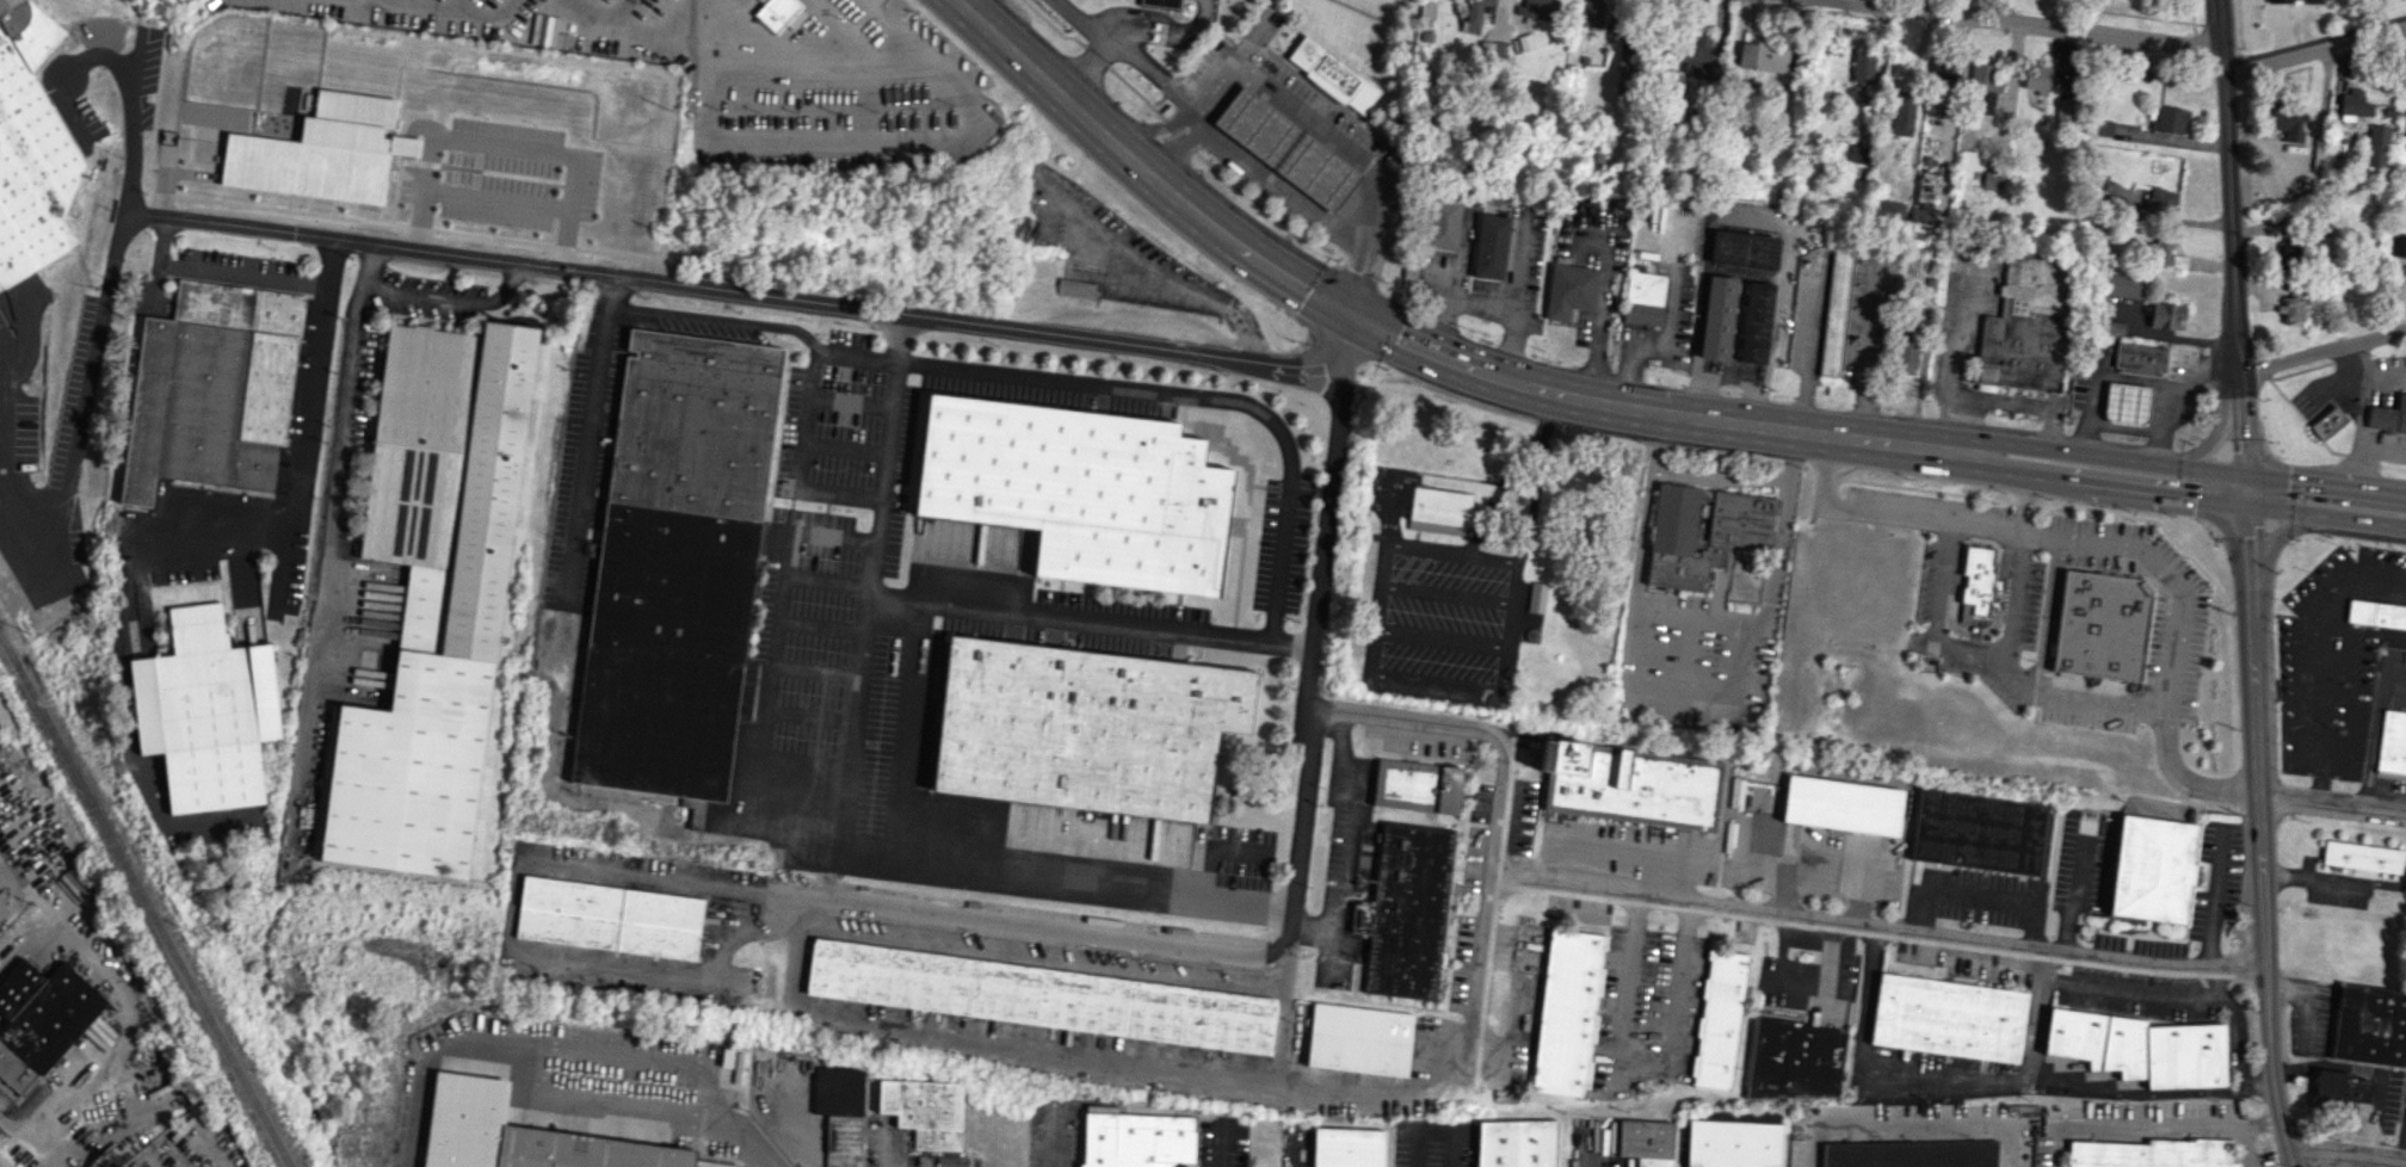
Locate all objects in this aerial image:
building: (2295, 0)
building: (1160, 4)
road: (1924, 5)
building: (1425, 8)
building: (1537, 8)
road: (457, 11)
building: (1591, 13)
building: (779, 14)
building: (1474, 14)
road: (1131, 21)
road: (2034, 24)
road: (2315, 45)
road: (1125, 49)
building: (1491, 50)
building: (1696, 55)
building: (1763, 56)
road: (820, 63)
building: (1862, 66)
building: (1625, 67)
road: (1029, 68)
building: (1331, 74)
building: (1985, 76)
building: (2036, 79)
road: (2009, 86)
building: (2353, 103)
road: (130, 111)
building: (2063, 112)
building: (1902, 113)
building: (2169, 119)
building: (2284, 119)
building: (2402, 126)
building: (2100, 128)
road: (1152, 130)
road: (856, 141)
road: (1344, 143)
road: (501, 144)
building: (2376, 146)
road: (1176, 147)
building: (1284, 148)
gas station: (1284, 148)
building: (30, 149)
building: (321, 152)
building: (1969, 162)
road: (1141, 168)
building: (1992, 180)
road: (1278, 183)
building: (2160, 199)
road: (494, 200)
building: (2114, 202)
building: (1888, 210)
building: (1923, 215)
road: (1748, 218)
building: (1442, 223)
building: (2398, 245)
building: (1489, 246)
building: (1744, 249)
building: (2161, 251)
building: (2281, 253)
road: (1263, 263)
road: (1455, 263)
road: (217, 271)
building: (2123, 285)
building: (1076, 289)
building: (1569, 290)
road: (450, 296)
road: (1450, 296)
road: (770, 298)
building: (1643, 298)
building: (2290, 302)
road: (1512, 303)
road: (1600, 307)
building: (1836, 310)
building: (2165, 315)
traffic signals: (1351, 316)
building: (1717, 317)
road: (742, 322)
building: (1754, 322)
building: (2025, 326)
road: (1654, 339)
road: (1804, 346)
road: (1869, 351)
road: (2321, 351)
building: (1905, 353)
road: (1437, 356)
building: (2139, 358)
road: (1955, 359)
road: (1727, 379)
building: (212, 389)
road: (73, 394)
road: (1198, 394)
building: (2126, 402)
road: (2019, 405)
road: (1548, 410)
road: (2361, 415)
building: (2388, 416)
building: (2328, 424)
road: (1750, 425)
road: (586, 440)
road: (2210, 440)
traffic signals: (2241, 442)
road: (2109, 456)
road: (803, 461)
road: (1721, 474)
traffic signals: (2287, 481)
road: (2324, 486)
road: (2108, 487)
road: (1500, 489)
building: (1081, 490)
road: (1534, 496)
traffic signals: (2195, 499)
road: (2024, 505)
building: (1438, 511)
road: (1648, 511)
road: (1388, 512)
road: (1886, 514)
road: (2326, 514)
road: (326, 524)
road: (1781, 529)
road: (192, 531)
road: (1326, 532)
building: (1702, 532)
traffic signals: (2247, 536)
road: (2274, 538)
road: (2092, 541)
building: (675, 564)
building: (1974, 581)
road: (2250, 583)
road: (1446, 594)
building: (433, 595)
building: (1536, 597)
road: (950, 606)
building: (2376, 613)
road: (1936, 616)
road: (1699, 617)
building: (2100, 625)
road: (1440, 638)
road: (1643, 643)
railway: (7, 649)
road: (776, 655)
road: (1741, 657)
road: (2326, 660)
road: (1369, 674)
road: (1689, 684)
road: (2288, 690)
building: (205, 711)
building: (1085, 728)
road: (902, 731)
road: (2373, 731)
building: (2393, 742)
building: (1630, 784)
building: (1417, 785)
road: (1501, 801)
building: (1841, 804)
road: (2331, 804)
building: (1978, 832)
road: (1347, 845)
building: (2361, 857)
road: (938, 866)
building: (2152, 869)
road: (2319, 878)
road: (2390, 884)
road: (31, 891)
road: (2211, 897)
railway: (148, 901)
building: (2, 912)
building: (1406, 912)
road: (508, 918)
building: (609, 918)
road: (1880, 930)
road: (1147, 943)
road: (1826, 964)
road: (1775, 971)
road: (2114, 989)
building: (1039, 995)
road: (1863, 996)
road: (1282, 1011)
building: (1567, 1013)
building: (1948, 1018)
building: (41, 1019)
building: (1719, 1019)
road: (125, 1023)
building: (2370, 1025)
road: (2032, 1031)
building: (1359, 1038)
road: (2235, 1038)
building: (2141, 1048)
road: (1643, 1060)
building: (1794, 1060)
road: (1179, 1072)
road: (1936, 1081)
building: (2338, 1088)
road: (2133, 1093)
road: (603, 1111)
building: (924, 1111)
building: (839, 1112)
road: (1902, 1120)
road: (2143, 1120)
building: (522, 1135)
road: (1048, 1138)
building: (1136, 1140)
building: (1645, 1142)
building: (1513, 1143)
building: (1733, 1143)
road: (2244, 1143)
road: (2056, 1144)
building: (1346, 1147)
building: (2151, 1153)
building: (1906, 1154)
road: (2348, 1155)

